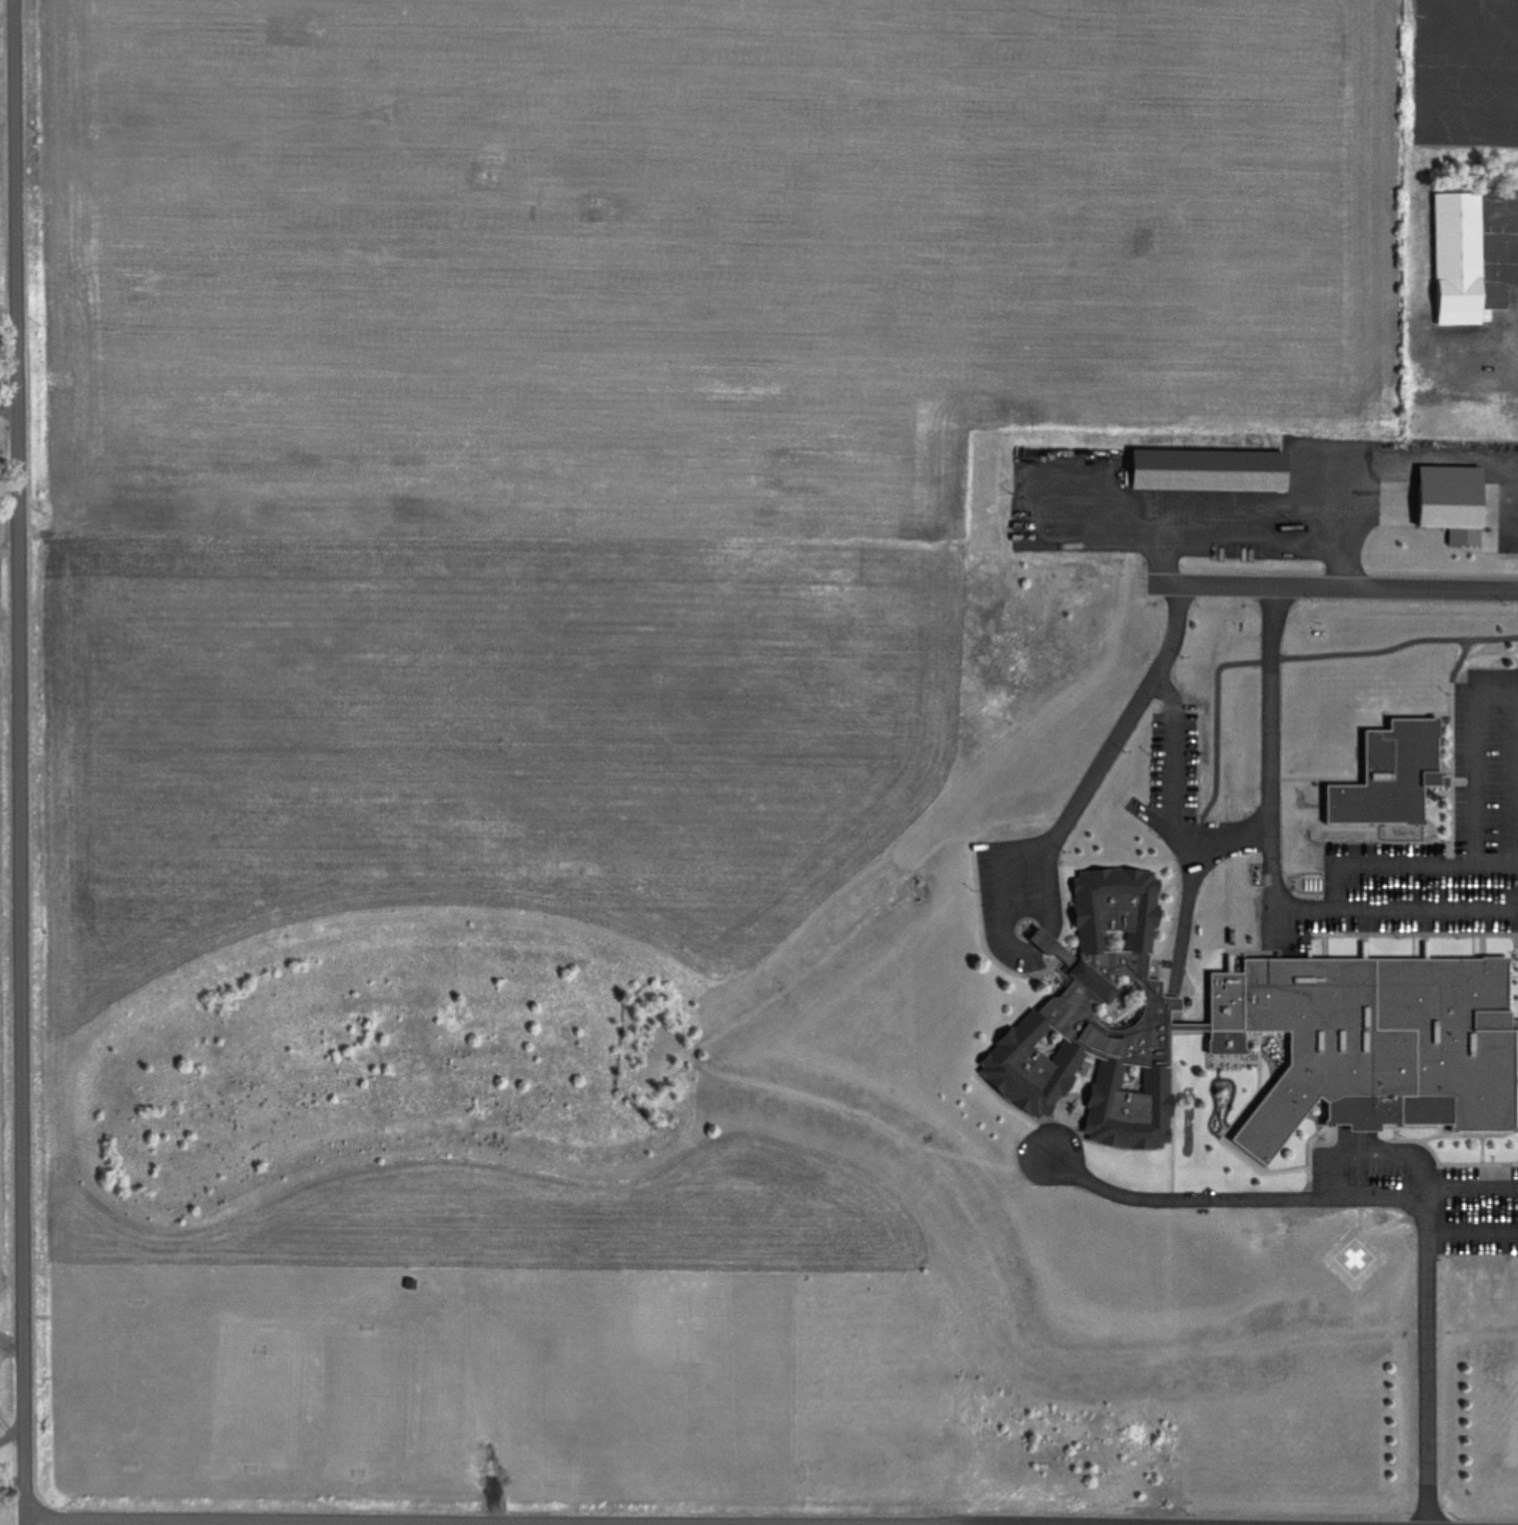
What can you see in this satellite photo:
crop: (3, 158)
building: (1456, 258)
road: (1336, 585)
road: (1277, 651)
building: (1303, 714)
road: (1173, 747)
road: (1272, 754)
road: (1475, 756)
road: (22, 762)
building: (1388, 775)
road: (1170, 825)
road: (1053, 840)
road: (1407, 861)
road: (1192, 875)
road: (1395, 906)
crop: (5, 938)
building: (1372, 1036)
road: (1279, 1196)
road: (1360, 1214)
road: (1472, 1229)
helipad: (1355, 1257)
road: (1426, 1279)
road: (605, 1518)
crop: (131, 1524)

